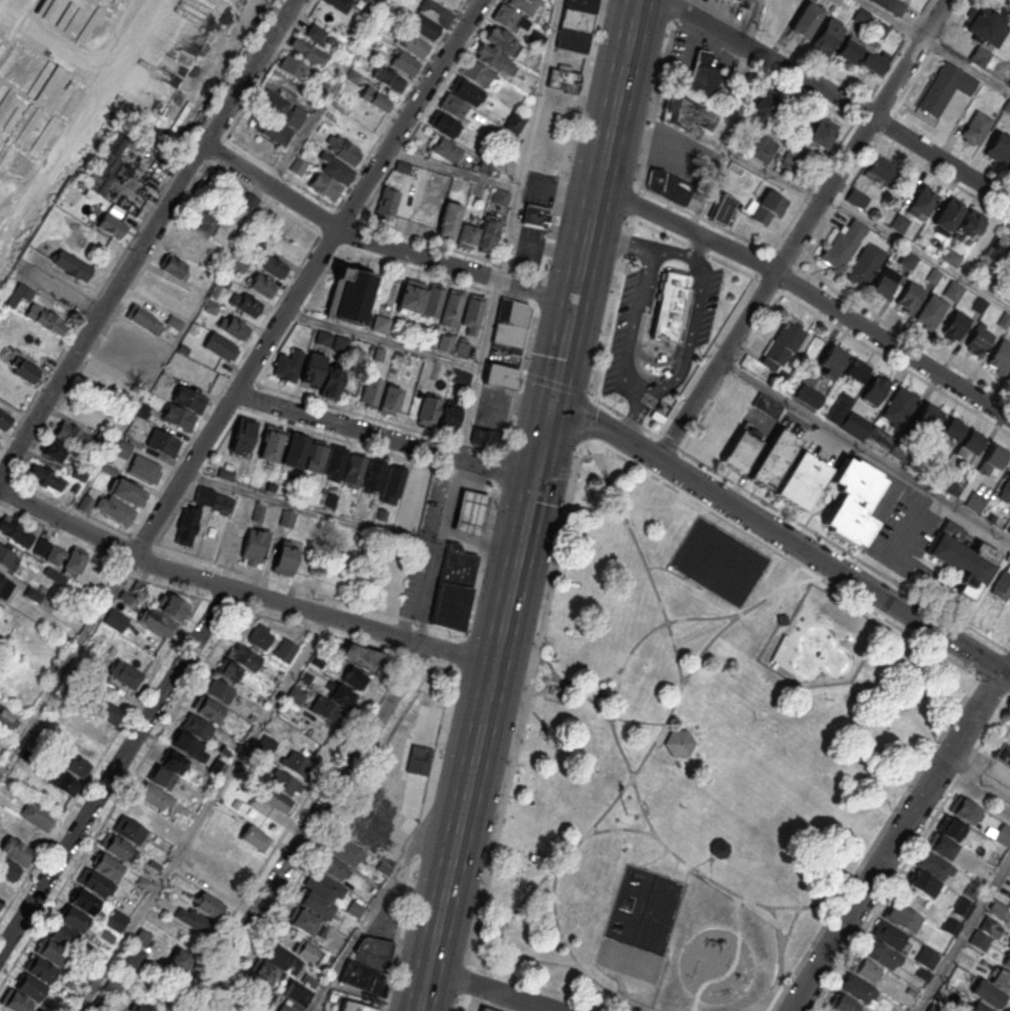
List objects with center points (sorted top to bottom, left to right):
building: (751, 0)
building: (879, 2)
building: (339, 4)
building: (521, 5)
building: (895, 6)
building: (436, 12)
building: (860, 15)
building: (508, 18)
building: (805, 19)
building: (984, 24)
building: (423, 25)
building: (576, 25)
building: (319, 35)
building: (826, 36)
building: (412, 43)
road: (934, 46)
road: (785, 48)
building: (497, 50)
building: (848, 50)
building: (310, 53)
building: (979, 56)
building: (872, 61)
building: (403, 62)
building: (293, 66)
building: (1002, 71)
building: (477, 73)
building: (702, 75)
building: (387, 78)
building: (564, 79)
building: (944, 87)
road: (329, 92)
building: (461, 97)
road: (840, 97)
building: (374, 98)
building: (282, 108)
road: (890, 108)
building: (763, 109)
building: (687, 116)
building: (443, 123)
building: (514, 123)
building: (975, 128)
building: (276, 130)
building: (821, 133)
road: (528, 139)
building: (997, 147)
building: (761, 149)
building: (343, 150)
building: (447, 150)
road: (605, 150)
road: (727, 150)
building: (501, 155)
building: (1009, 164)
road: (453, 168)
building: (337, 169)
building: (878, 170)
building: (325, 185)
building: (669, 186)
building: (500, 196)
building: (856, 199)
building: (245, 200)
building: (921, 202)
building: (386, 204)
building: (722, 208)
building: (767, 208)
building: (948, 214)
building: (534, 215)
building: (427, 219)
building: (449, 220)
building: (204, 221)
building: (899, 223)
building: (111, 224)
building: (968, 227)
road: (686, 229)
road: (803, 229)
building: (488, 234)
building: (467, 235)
road: (147, 238)
road: (621, 242)
building: (196, 243)
building: (844, 244)
road: (379, 245)
building: (1002, 245)
road: (696, 247)
road: (918, 250)
building: (950, 257)
building: (907, 261)
building: (71, 265)
building: (274, 266)
building: (865, 266)
building: (175, 267)
road: (700, 268)
road: (307, 277)
building: (884, 282)
building: (260, 284)
road: (783, 287)
building: (952, 291)
road: (59, 292)
building: (350, 294)
building: (908, 295)
building: (411, 296)
building: (434, 301)
building: (245, 303)
building: (670, 306)
building: (452, 308)
building: (931, 311)
building: (472, 314)
building: (143, 318)
building: (46, 319)
building: (380, 323)
road: (490, 324)
building: (955, 324)
building: (510, 325)
building: (232, 326)
road: (634, 327)
building: (978, 340)
building: (446, 343)
building: (783, 344)
road: (892, 345)
building: (220, 346)
building: (462, 348)
road: (428, 353)
road: (561, 353)
building: (1000, 355)
building: (830, 361)
building: (287, 364)
building: (24, 369)
building: (312, 369)
building: (855, 370)
building: (500, 376)
building: (1009, 376)
building: (461, 377)
building: (332, 382)
road: (666, 387)
building: (371, 390)
building: (874, 390)
building: (188, 399)
building: (390, 399)
traffic signals: (551, 406)
building: (899, 407)
building: (429, 410)
building: (449, 416)
building: (928, 416)
building: (178, 417)
road: (632, 418)
building: (3, 420)
building: (855, 424)
building: (952, 429)
road: (607, 430)
building: (72, 433)
building: (243, 436)
road: (383, 438)
building: (486, 438)
building: (162, 442)
building: (269, 443)
building: (969, 443)
road: (542, 444)
building: (743, 448)
building: (123, 449)
building: (53, 450)
road: (865, 450)
building: (296, 451)
building: (315, 457)
building: (773, 457)
building: (992, 458)
building: (334, 463)
building: (144, 468)
building: (354, 469)
building: (374, 474)
building: (46, 478)
building: (800, 480)
building: (392, 484)
road: (573, 487)
building: (1005, 490)
road: (435, 500)
building: (116, 501)
building: (852, 501)
building: (470, 516)
building: (287, 518)
road: (352, 522)
building: (186, 528)
building: (16, 531)
building: (254, 547)
building: (48, 550)
building: (8, 558)
building: (285, 558)
building: (962, 558)
building: (69, 565)
road: (835, 567)
building: (458, 569)
building: (4, 586)
road: (241, 591)
building: (171, 606)
building: (451, 609)
building: (115, 620)
building: (157, 622)
building: (260, 636)
road: (1005, 646)
building: (285, 650)
building: (360, 656)
building: (239, 662)
road: (66, 663)
road: (455, 665)
traffic signals: (1003, 672)
building: (126, 674)
building: (353, 678)
building: (218, 689)
building: (332, 703)
building: (210, 709)
building: (105, 712)
building: (6, 718)
building: (196, 726)
building: (185, 743)
building: (679, 743)
building: (266, 744)
road: (476, 746)
building: (81, 754)
building: (1003, 756)
building: (419, 759)
park: (694, 760)
building: (297, 763)
building: (217, 768)
road: (114, 769)
building: (167, 769)
road: (979, 774)
building: (64, 782)
building: (151, 794)
building: (965, 811)
building: (140, 812)
road: (202, 813)
building: (37, 815)
road: (308, 828)
building: (128, 829)
building: (1003, 835)
road: (899, 836)
building: (255, 838)
building: (118, 848)
building: (15, 849)
building: (719, 849)
building: (938, 857)
building: (339, 860)
building: (107, 866)
road: (391, 876)
building: (97, 884)
building: (85, 901)
building: (0, 902)
building: (0, 905)
building: (208, 905)
building: (963, 907)
building: (310, 915)
building: (74, 919)
building: (193, 919)
building: (116, 920)
building: (986, 932)
building: (64, 935)
building: (891, 936)
building: (143, 937)
road: (963, 937)
building: (53, 952)
building: (134, 955)
building: (927, 958)
building: (181, 961)
building: (281, 961)
building: (369, 964)
building: (42, 969)
building: (860, 980)
building: (30, 987)
road: (488, 990)
building: (988, 993)
building: (297, 994)
building: (257, 998)
building: (842, 1003)
building: (141, 1006)
building: (351, 1006)
building: (976, 1006)
building: (480, 1009)
building: (486, 1009)

